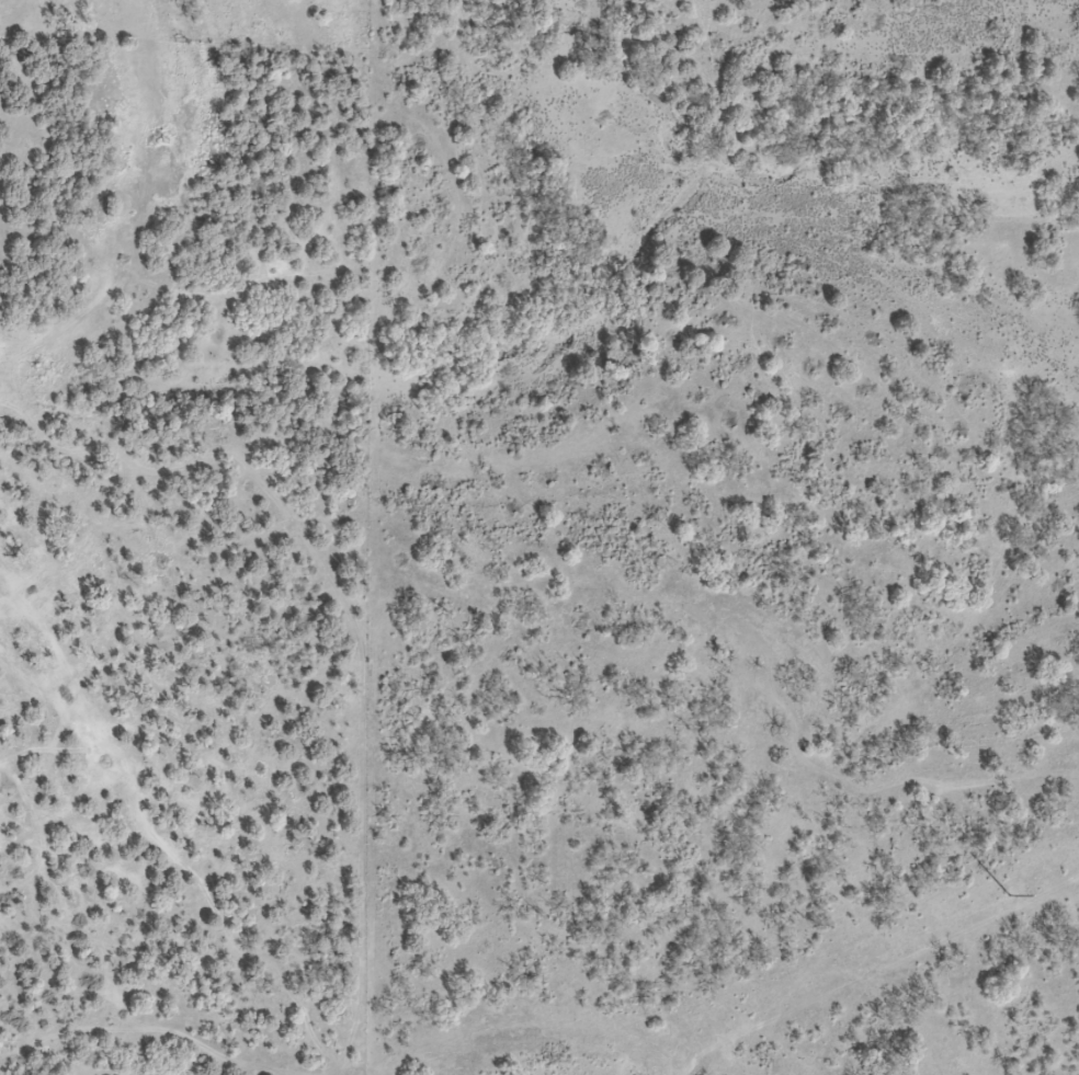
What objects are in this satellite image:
power tower: (1010, 896)

